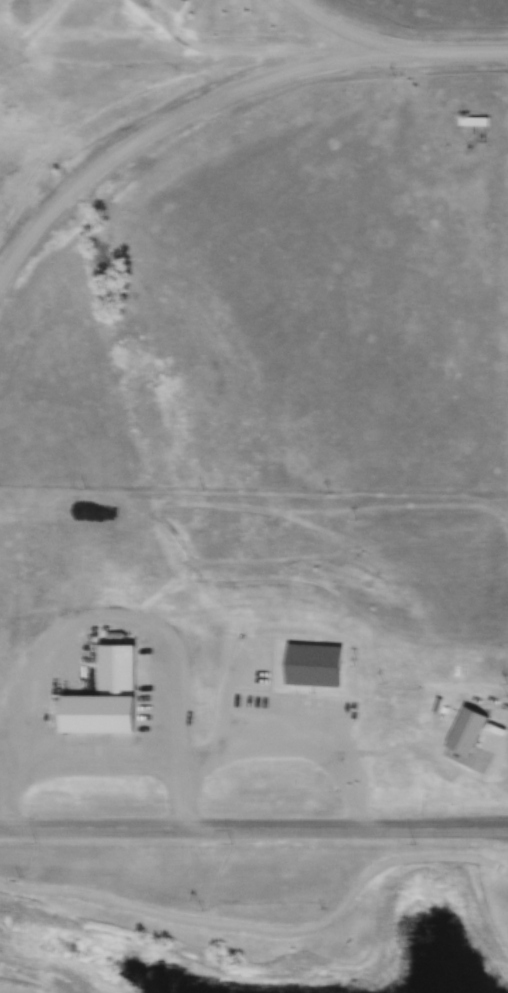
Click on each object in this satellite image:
building: (168, 6)
road: (355, 38)
road: (468, 56)
road: (185, 114)
building: (472, 121)
building: (466, 731)
road: (254, 828)

